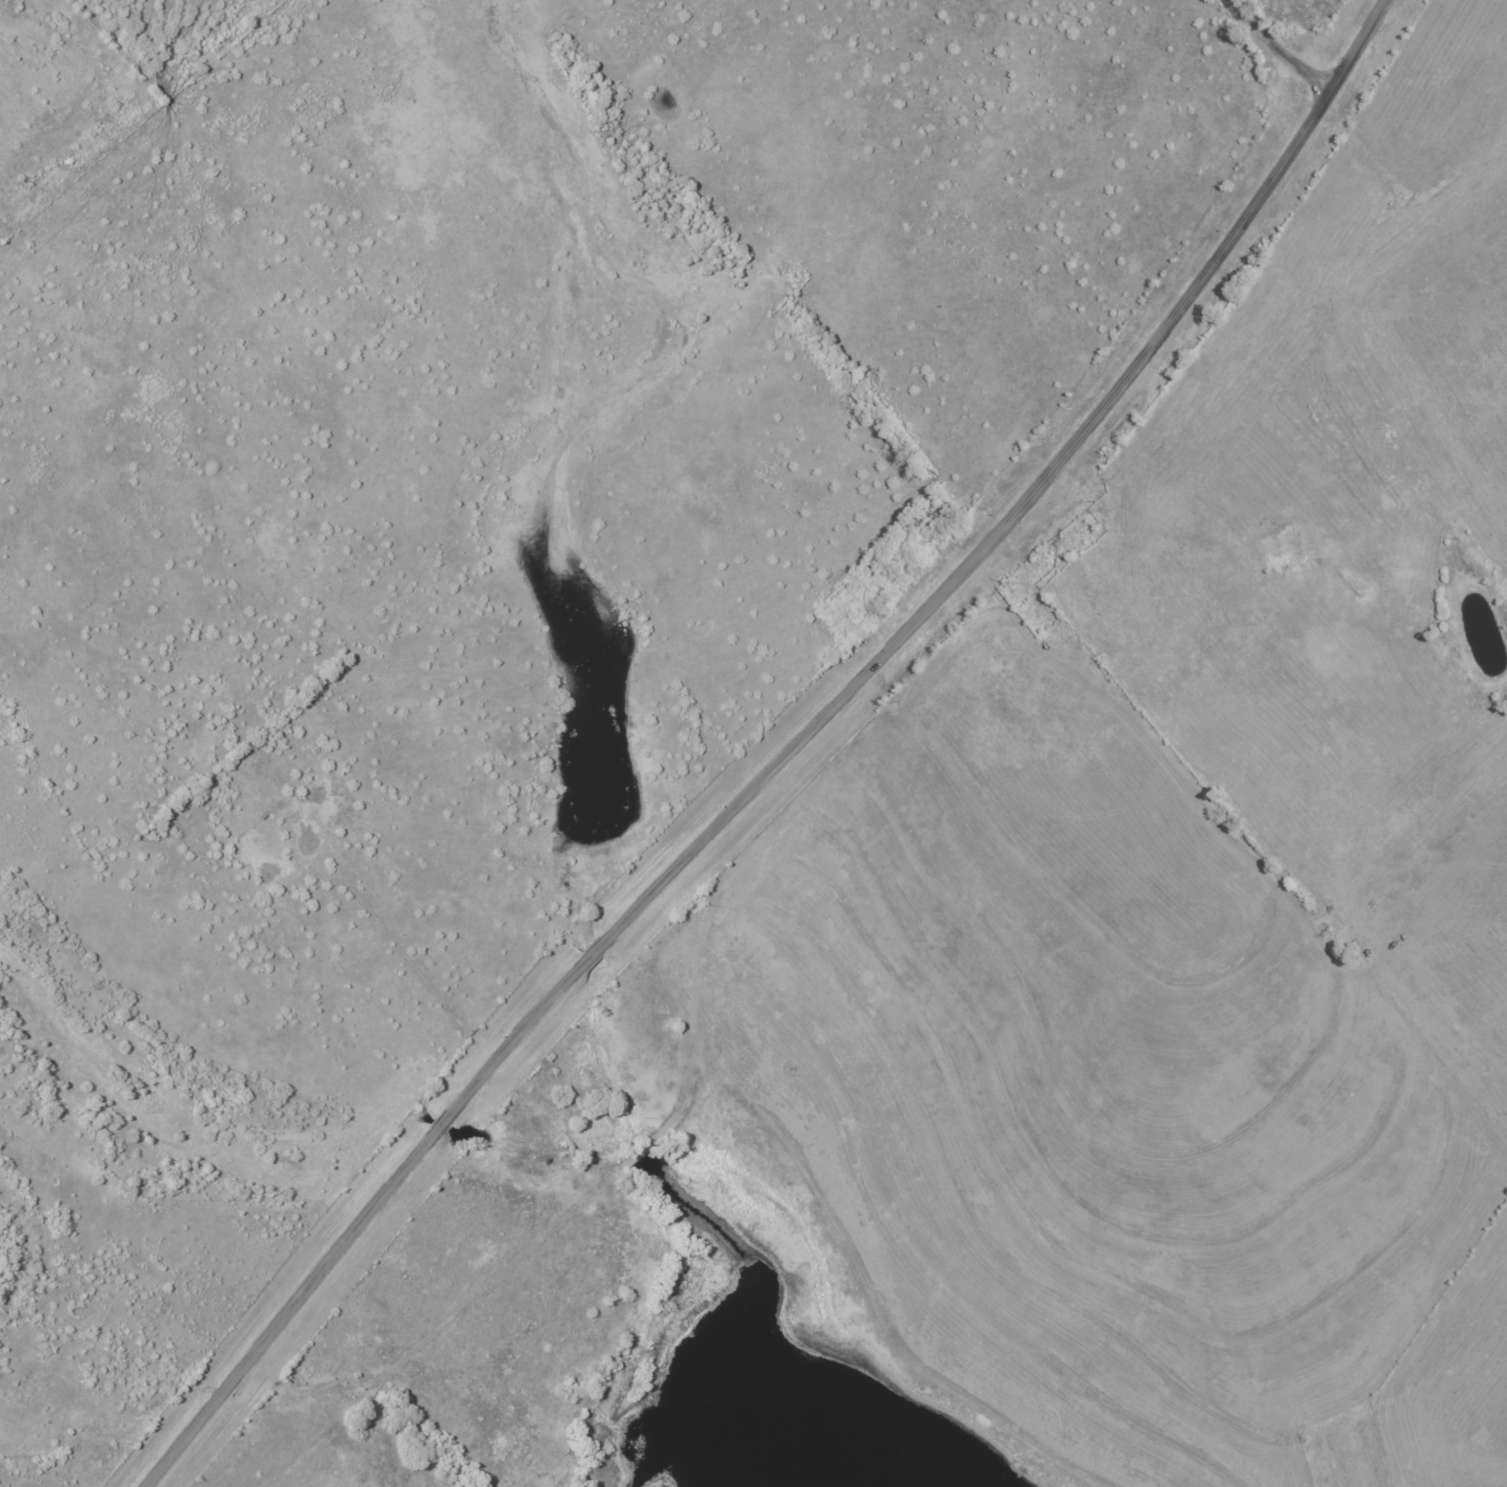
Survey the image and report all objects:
road: (1277, 51)
road: (785, 757)
road: (369, 1377)
dam: (1333, 1470)

